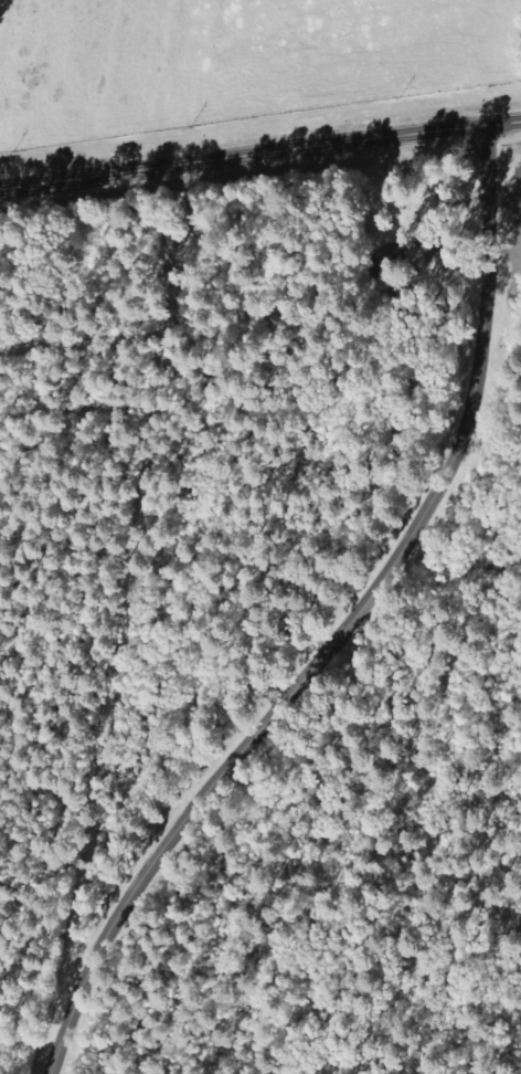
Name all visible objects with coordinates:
road: (259, 155)
road: (340, 625)

